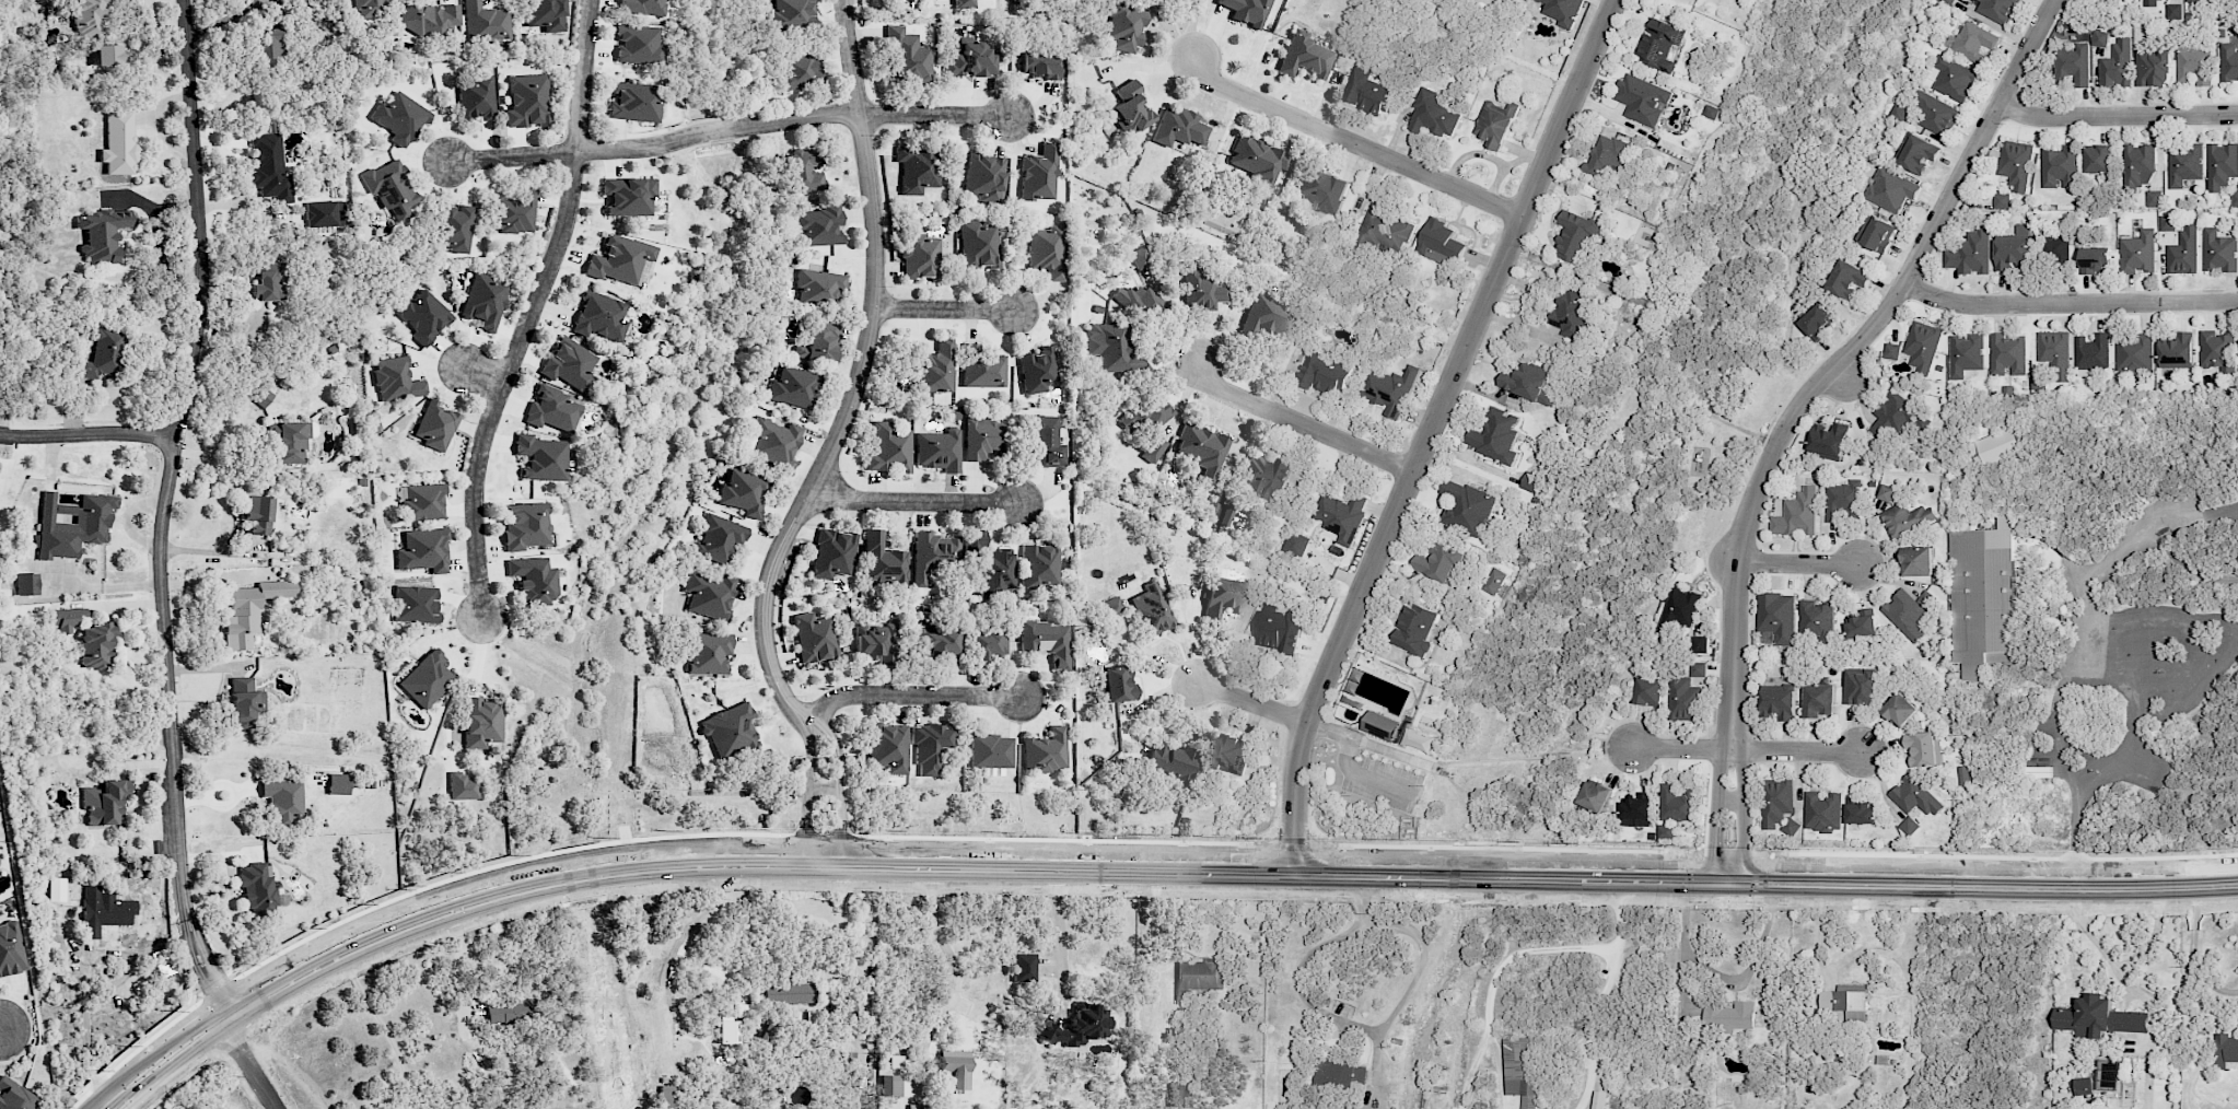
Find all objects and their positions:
building: (2203, 0)
building: (2153, 2)
building: (964, 3)
building: (642, 7)
building: (370, 8)
building: (1996, 9)
building: (1247, 11)
building: (1563, 11)
building: (2173, 11)
building: (545, 14)
building: (791, 14)
building: (90, 15)
building: (429, 17)
building: (485, 23)
building: (1124, 27)
building: (2100, 38)
building: (1974, 42)
building: (1659, 43)
building: (638, 45)
building: (268, 47)
building: (110, 54)
building: (909, 55)
road: (852, 57)
building: (1305, 57)
building: (970, 60)
building: (2229, 60)
building: (2073, 62)
building: (1041, 65)
building: (2117, 65)
building: (2193, 65)
building: (2152, 68)
building: (799, 70)
building: (1954, 78)
building: (1366, 91)
building: (476, 97)
building: (1642, 100)
building: (527, 101)
building: (633, 102)
building: (1129, 108)
building: (1711, 112)
building: (1899, 113)
building: (1435, 114)
building: (1935, 115)
road: (935, 116)
road: (2117, 116)
building: (399, 118)
building: (1495, 124)
building: (1179, 127)
building: (119, 141)
road: (1351, 141)
road: (653, 147)
building: (1919, 153)
building: (1606, 156)
building: (2098, 159)
building: (2183, 164)
building: (2222, 164)
building: (1258, 165)
building: (2016, 165)
building: (2138, 165)
building: (270, 167)
building: (2060, 167)
building: (804, 172)
building: (1039, 174)
building: (983, 177)
building: (391, 188)
building: (1320, 189)
building: (1891, 189)
building: (628, 196)
building: (2154, 198)
building: (2235, 198)
building: (2002, 200)
building: (513, 212)
building: (320, 214)
building: (2167, 222)
building: (817, 226)
building: (453, 227)
building: (1384, 230)
building: (1876, 233)
building: (103, 234)
building: (1575, 235)
building: (1439, 243)
building: (978, 245)
building: (2012, 248)
building: (2056, 248)
building: (1046, 250)
building: (2137, 252)
building: (2183, 252)
building: (2218, 252)
building: (1970, 253)
building: (920, 257)
building: (1140, 257)
building: (619, 259)
building: (2095, 259)
building: (1847, 279)
building: (270, 283)
building: (819, 288)
building: (1201, 289)
building: (485, 301)
road: (2068, 302)
building: (1140, 304)
road: (944, 310)
road: (528, 313)
building: (1571, 314)
building: (422, 316)
building: (601, 317)
building: (1270, 319)
building: (1816, 322)
building: (821, 341)
road: (1855, 345)
building: (1922, 345)
building: (1110, 348)
building: (1891, 350)
building: (2177, 350)
building: (2218, 351)
building: (2093, 352)
building: (2134, 352)
building: (101, 353)
building: (2055, 353)
building: (1966, 354)
building: (2007, 354)
building: (570, 363)
building: (936, 367)
building: (982, 367)
building: (1036, 370)
building: (1324, 373)
road: (481, 374)
road: (1841, 374)
building: (396, 380)
building: (1530, 382)
building: (2038, 382)
building: (792, 387)
building: (1388, 388)
building: (263, 396)
building: (552, 409)
building: (1147, 415)
building: (1893, 415)
road: (1297, 422)
building: (435, 424)
road: (1426, 432)
road: (88, 434)
building: (1495, 435)
building: (982, 437)
building: (1828, 440)
building: (773, 441)
building: (1045, 441)
building: (290, 442)
building: (1994, 447)
building: (888, 448)
building: (1154, 450)
building: (1202, 450)
building: (939, 451)
building: (541, 457)
building: (1264, 477)
building: (1530, 481)
building: (743, 492)
building: (1886, 493)
road: (806, 498)
building: (1842, 498)
road: (911, 502)
building: (422, 503)
building: (1466, 506)
building: (257, 514)
building: (1797, 514)
road: (163, 515)
building: (1226, 515)
building: (1341, 515)
building: (1907, 518)
building: (72, 524)
building: (526, 526)
building: (716, 539)
building: (975, 541)
building: (1296, 544)
road: (212, 550)
building: (423, 550)
building: (832, 553)
building: (933, 554)
building: (1918, 561)
building: (884, 562)
road: (1797, 562)
building: (1441, 563)
building: (1041, 564)
road: (2187, 565)
building: (996, 572)
road: (217, 576)
building: (534, 580)
building: (1495, 581)
building: (26, 584)
building: (709, 595)
building: (1222, 598)
building: (1983, 600)
building: (416, 605)
building: (1111, 606)
building: (1152, 609)
building: (250, 611)
building: (1909, 612)
building: (1777, 617)
building: (67, 619)
building: (1816, 619)
building: (1863, 623)
building: (1277, 628)
building: (1414, 629)
building: (814, 638)
building: (1047, 641)
building: (875, 642)
building: (939, 643)
building: (987, 643)
building: (1699, 644)
building: (96, 645)
building: (708, 653)
road: (2118, 657)
building: (427, 678)
building: (1116, 685)
building: (1860, 686)
building: (1650, 691)
building: (1686, 691)
road: (908, 696)
building: (1779, 700)
building: (1819, 700)
building: (244, 702)
road: (1250, 702)
building: (1900, 709)
building: (482, 721)
building: (1382, 725)
building: (730, 731)
building: (930, 745)
building: (888, 747)
building: (1923, 748)
road: (1745, 750)
building: (1046, 751)
building: (1232, 754)
building: (1172, 761)
road: (1344, 764)
building: (1962, 773)
building: (338, 784)
building: (462, 786)
road: (1716, 794)
road: (1741, 794)
building: (1595, 795)
building: (1914, 796)
road: (1729, 798)
building: (283, 801)
building: (1676, 802)
building: (1776, 802)
building: (105, 803)
building: (1637, 810)
building: (1860, 810)
building: (1822, 812)
building: (1909, 825)
building: (1792, 827)
building: (1666, 830)
road: (1150, 874)
road: (1048, 879)
road: (930, 880)
traffic signals: (1714, 884)
traffic signals: (1746, 884)
building: (256, 887)
building: (57, 889)
road: (1052, 896)
road: (931, 897)
building: (104, 911)
road: (1617, 917)
road: (838, 926)
road: (1815, 935)
building: (10, 949)
road: (120, 954)
road: (1061, 957)
road: (2191, 959)
building: (162, 962)
building: (1024, 967)
road: (956, 977)
building: (1198, 977)
road: (1493, 978)
building: (790, 992)
building: (1847, 1003)
road: (464, 1009)
building: (509, 1012)
building: (1728, 1016)
building: (2098, 1017)
road: (1337, 1020)
road: (0, 1025)
road: (0, 1027)
building: (1077, 1027)
road: (1587, 1028)
building: (727, 1032)
road: (388, 1040)
building: (2226, 1050)
road: (88, 1052)
building: (956, 1067)
road: (252, 1070)
building: (1519, 1072)
building: (1341, 1074)
building: (2083, 1085)
building: (895, 1086)
building: (1181, 1094)
building: (15, 1096)
building: (666, 1097)
building: (1598, 1099)
building: (920, 1107)
building: (441, 1108)

